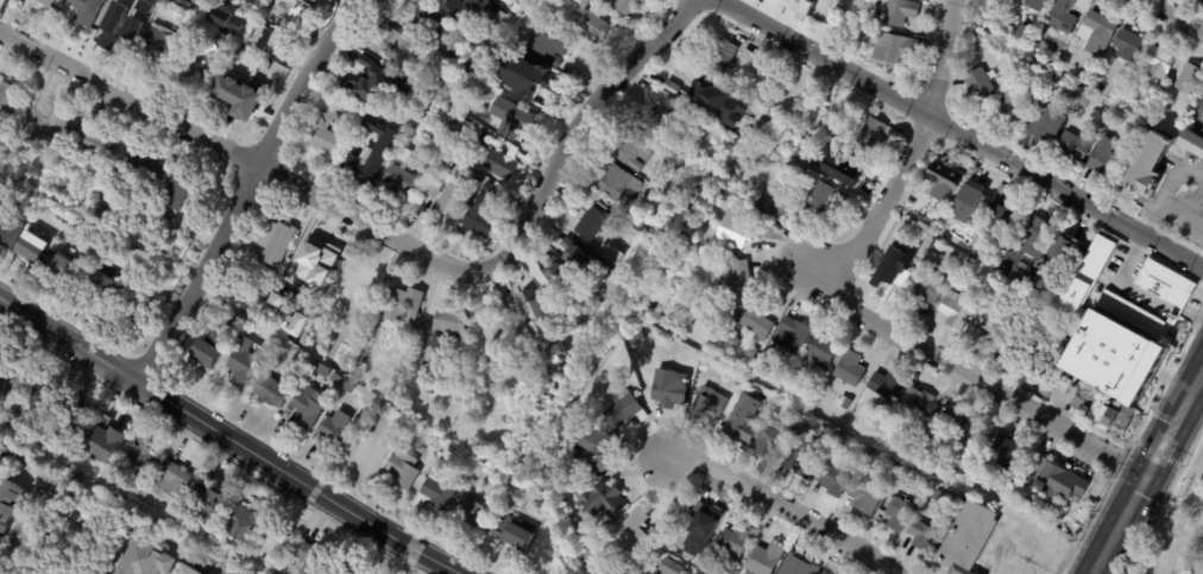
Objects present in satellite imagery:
building: (256, 0)
building: (262, 0)
building: (506, 1)
building: (48, 2)
building: (189, 2)
building: (531, 2)
building: (152, 4)
building: (1034, 4)
building: (234, 6)
building: (629, 6)
building: (805, 7)
building: (466, 10)
building: (84, 11)
building: (902, 13)
building: (291, 14)
road: (1174, 14)
building: (1058, 18)
building: (228, 19)
building: (592, 23)
building: (126, 30)
building: (439, 30)
building: (257, 31)
building: (1095, 31)
building: (1018, 32)
building: (873, 34)
building: (506, 37)
building: (163, 45)
building: (399, 45)
building: (550, 45)
building: (1126, 46)
building: (203, 50)
building: (897, 51)
building: (724, 55)
building: (749, 57)
building: (486, 62)
building: (262, 64)
building: (675, 64)
building: (1155, 64)
building: (480, 70)
building: (199, 75)
building: (990, 77)
building: (540, 80)
building: (1186, 80)
building: (377, 87)
building: (977, 87)
building: (704, 88)
building: (239, 89)
building: (748, 89)
building: (1075, 93)
building: (440, 97)
building: (1083, 97)
building: (7, 99)
building: (1009, 109)
building: (263, 113)
building: (1119, 114)
building: (666, 116)
building: (1198, 118)
building: (50, 121)
building: (519, 122)
building: (456, 124)
building: (1045, 124)
building: (1159, 125)
road: (575, 126)
building: (399, 132)
road: (958, 132)
building: (876, 135)
building: (328, 137)
building: (409, 139)
building: (94, 144)
building: (1073, 146)
building: (636, 147)
building: (1117, 150)
road: (908, 151)
building: (38, 154)
road: (241, 157)
building: (365, 157)
building: (496, 157)
building: (1158, 159)
building: (1103, 160)
building: (668, 162)
building: (849, 168)
building: (145, 172)
building: (404, 176)
road: (1174, 179)
building: (618, 181)
building: (945, 181)
building: (502, 182)
road: (245, 187)
building: (448, 191)
building: (181, 196)
building: (829, 197)
building: (978, 197)
building: (777, 200)
building: (1008, 213)
building: (99, 215)
building: (483, 216)
road: (1179, 217)
building: (955, 219)
road: (1150, 220)
building: (599, 223)
building: (745, 228)
building: (1035, 229)
building: (8, 233)
building: (276, 240)
building: (1069, 242)
building: (921, 245)
building: (32, 248)
building: (616, 254)
building: (319, 256)
building: (951, 257)
building: (996, 263)
building: (965, 264)
building: (574, 265)
building: (1024, 267)
building: (67, 270)
building: (555, 273)
building: (1094, 275)
building: (360, 276)
building: (892, 277)
building: (739, 278)
building: (1056, 280)
building: (928, 288)
building: (106, 290)
building: (530, 294)
building: (1178, 297)
building: (506, 302)
building: (405, 303)
building: (379, 308)
building: (958, 309)
building: (136, 310)
building: (544, 313)
building: (695, 314)
building: (283, 316)
building: (756, 316)
building: (712, 323)
building: (448, 324)
building: (975, 330)
building: (1003, 332)
building: (793, 334)
building: (498, 335)
building: (731, 339)
building: (466, 342)
building: (210, 348)
building: (823, 351)
building: (752, 352)
building: (484, 355)
building: (325, 366)
building: (851, 368)
building: (241, 371)
road: (969, 371)
building: (338, 376)
building: (427, 376)
building: (617, 377)
building: (12, 381)
building: (742, 381)
road: (1196, 381)
building: (888, 384)
building: (610, 385)
building: (666, 387)
building: (349, 389)
building: (273, 391)
building: (1046, 391)
building: (414, 397)
building: (53, 400)
building: (713, 400)
building: (845, 402)
building: (919, 402)
building: (309, 405)
building: (1100, 405)
building: (383, 409)
building: (628, 409)
building: (1123, 416)
building: (747, 418)
building: (951, 424)
building: (1000, 427)
building: (339, 430)
building: (0, 434)
road: (1166, 434)
building: (103, 435)
road: (229, 436)
building: (975, 436)
building: (777, 437)
building: (371, 449)
building: (598, 449)
building: (1009, 454)
building: (145, 458)
building: (939, 459)
building: (445, 461)
building: (810, 461)
building: (858, 463)
building: (951, 465)
building: (404, 469)
building: (864, 469)
building: (837, 479)
building: (174, 480)
building: (1062, 481)
railway: (1153, 484)
building: (440, 492)
building: (511, 494)
building: (868, 496)
building: (604, 498)
building: (944, 498)
building: (215, 503)
building: (11, 505)
road: (780, 505)
building: (473, 509)
building: (170, 512)
building: (900, 513)
building: (707, 517)
building: (943, 517)
building: (244, 522)
road: (23, 524)
road: (1119, 524)
building: (269, 532)
building: (635, 532)
building: (516, 534)
building: (926, 537)
building: (969, 537)
building: (738, 541)
building: (1, 543)
building: (279, 547)
building: (311, 559)
building: (768, 559)
building: (146, 560)
building: (800, 566)
building: (670, 567)
building: (185, 570)
building: (330, 573)
building: (697, 573)

